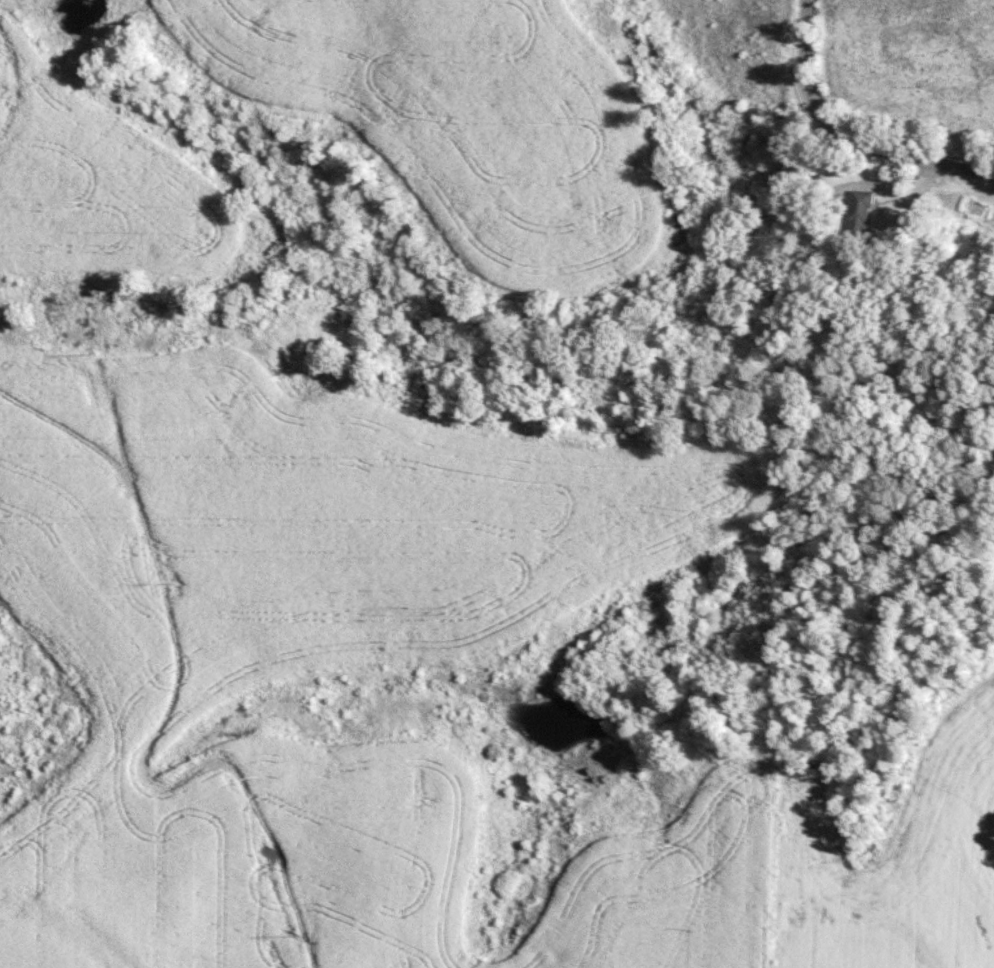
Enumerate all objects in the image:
road: (846, 133)
building: (860, 205)

